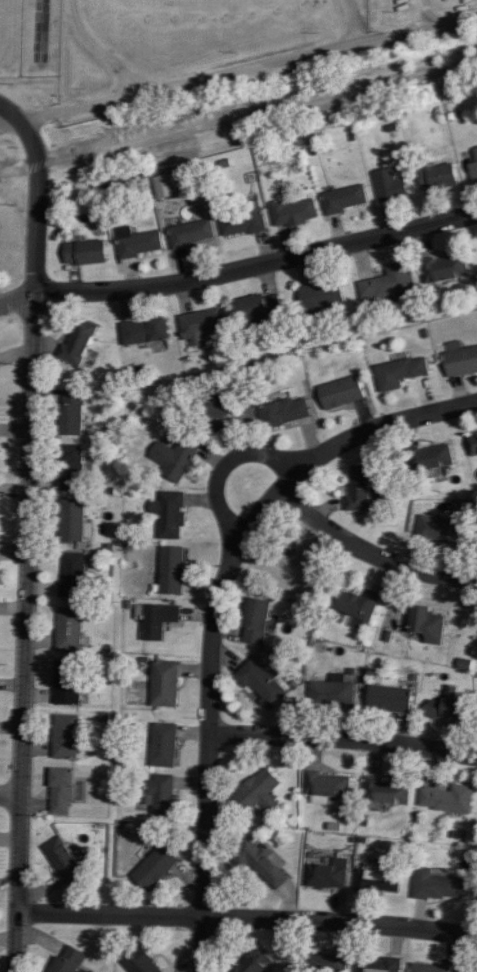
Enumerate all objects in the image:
road: (37, 29)
road: (238, 71)
road: (238, 114)
building: (472, 166)
building: (436, 177)
building: (388, 185)
building: (163, 186)
building: (343, 199)
building: (292, 212)
building: (242, 221)
building: (190, 233)
building: (136, 242)
building: (84, 253)
road: (240, 268)
building: (443, 268)
building: (389, 282)
building: (320, 297)
building: (255, 309)
building: (201, 324)
building: (151, 330)
building: (76, 343)
building: (459, 360)
building: (398, 373)
building: (340, 390)
building: (214, 410)
building: (284, 412)
building: (68, 413)
building: (472, 443)
building: (429, 458)
building: (172, 459)
road: (226, 465)
building: (70, 468)
building: (357, 489)
building: (169, 515)
building: (69, 521)
road: (22, 536)
road: (369, 553)
building: (285, 564)
building: (168, 571)
building: (71, 575)
building: (356, 605)
road: (215, 611)
building: (156, 621)
building: (253, 621)
building: (425, 624)
building: (67, 630)
building: (65, 683)
building: (162, 684)
building: (259, 684)
building: (335, 697)
building: (388, 700)
building: (443, 705)
building: (63, 737)
road: (343, 739)
building: (161, 745)
building: (325, 784)
building: (59, 792)
building: (386, 792)
building: (255, 793)
road: (8, 795)
building: (160, 796)
building: (446, 799)
building: (61, 860)
building: (260, 864)
building: (152, 869)
building: (323, 877)
building: (379, 882)
building: (434, 886)
road: (245, 919)
building: (66, 960)
building: (251, 961)
building: (137, 962)
building: (378, 964)
building: (431, 967)
building: (473, 971)

